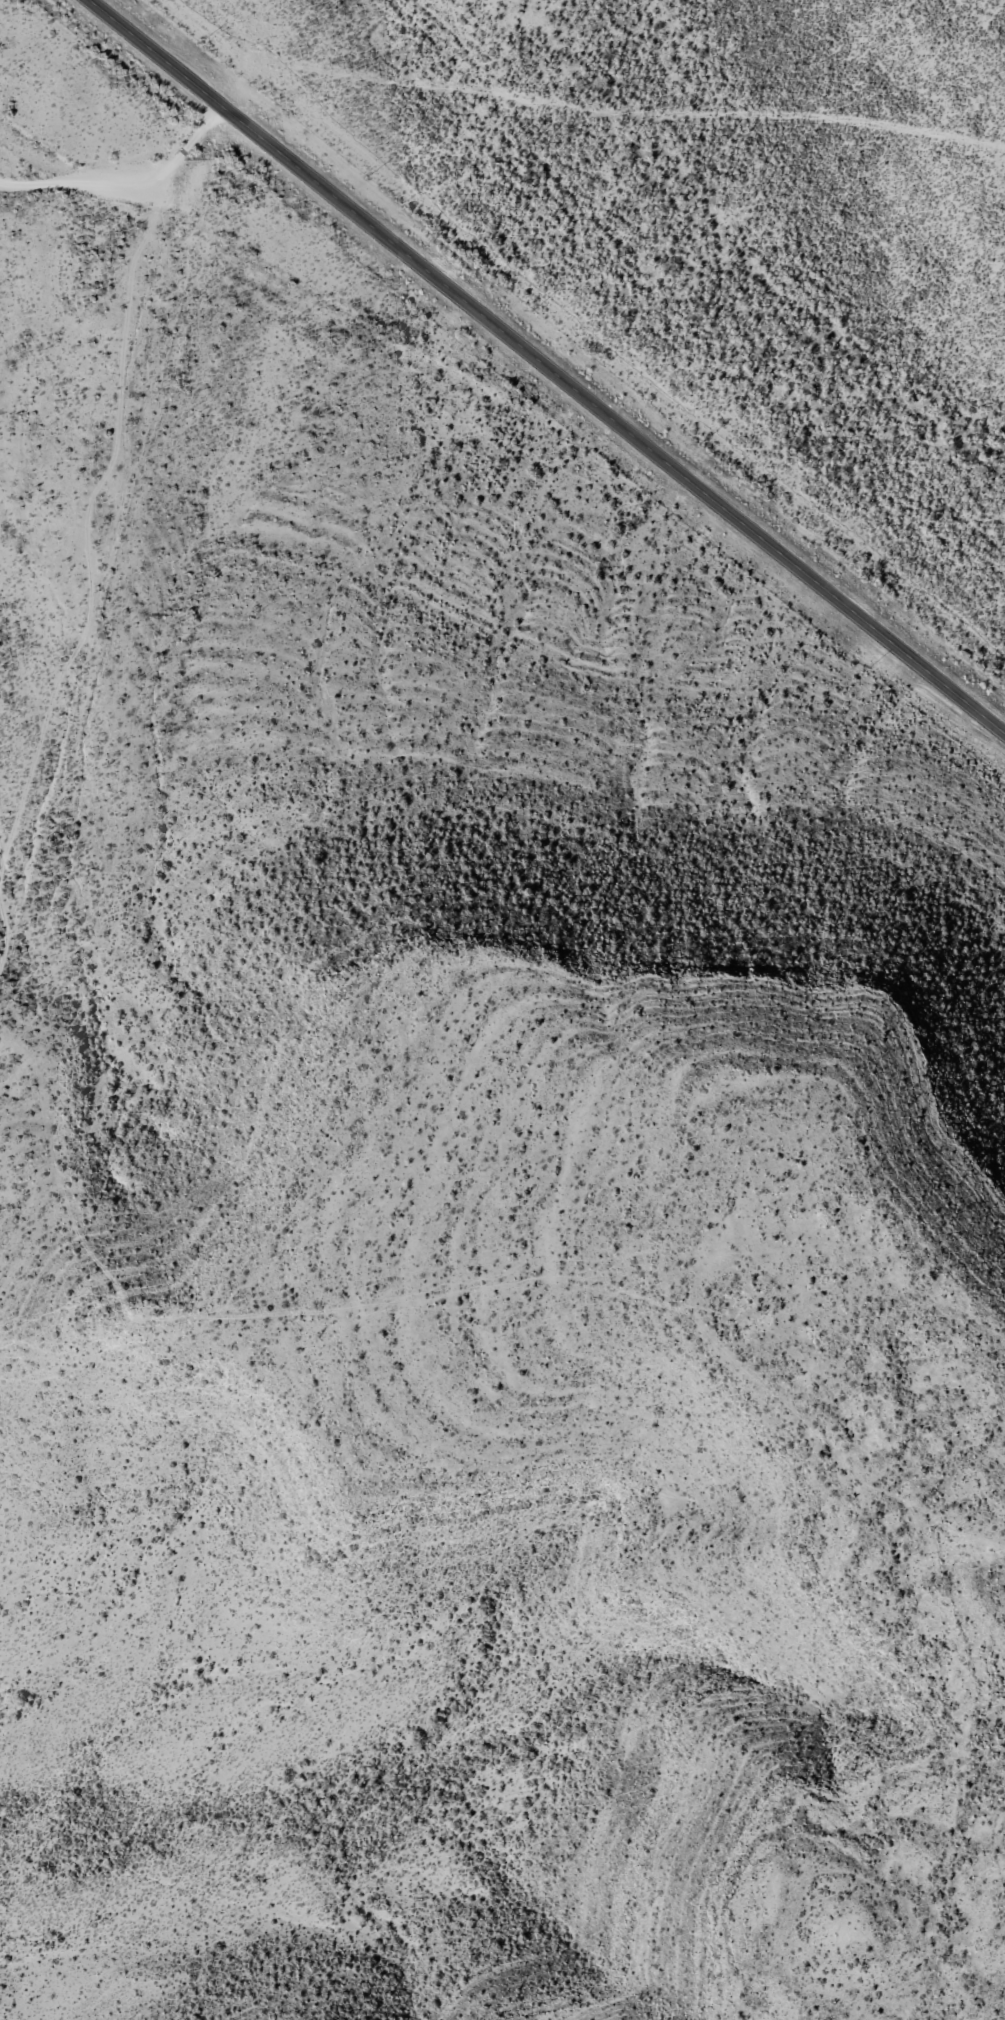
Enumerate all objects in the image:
road: (120, 157)
road: (549, 365)

